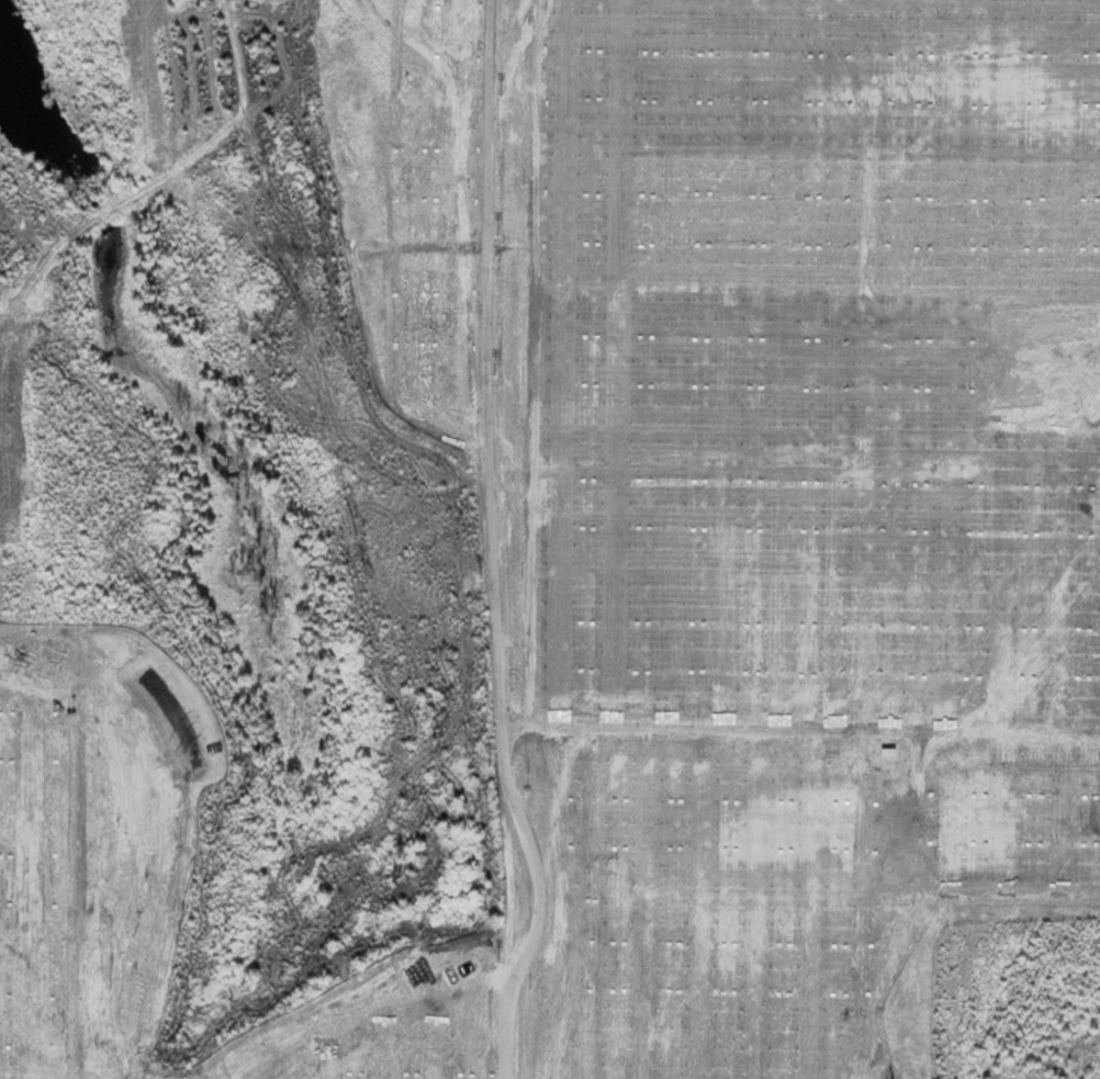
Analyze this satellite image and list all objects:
solar farm: (538, 527)
road: (491, 564)

